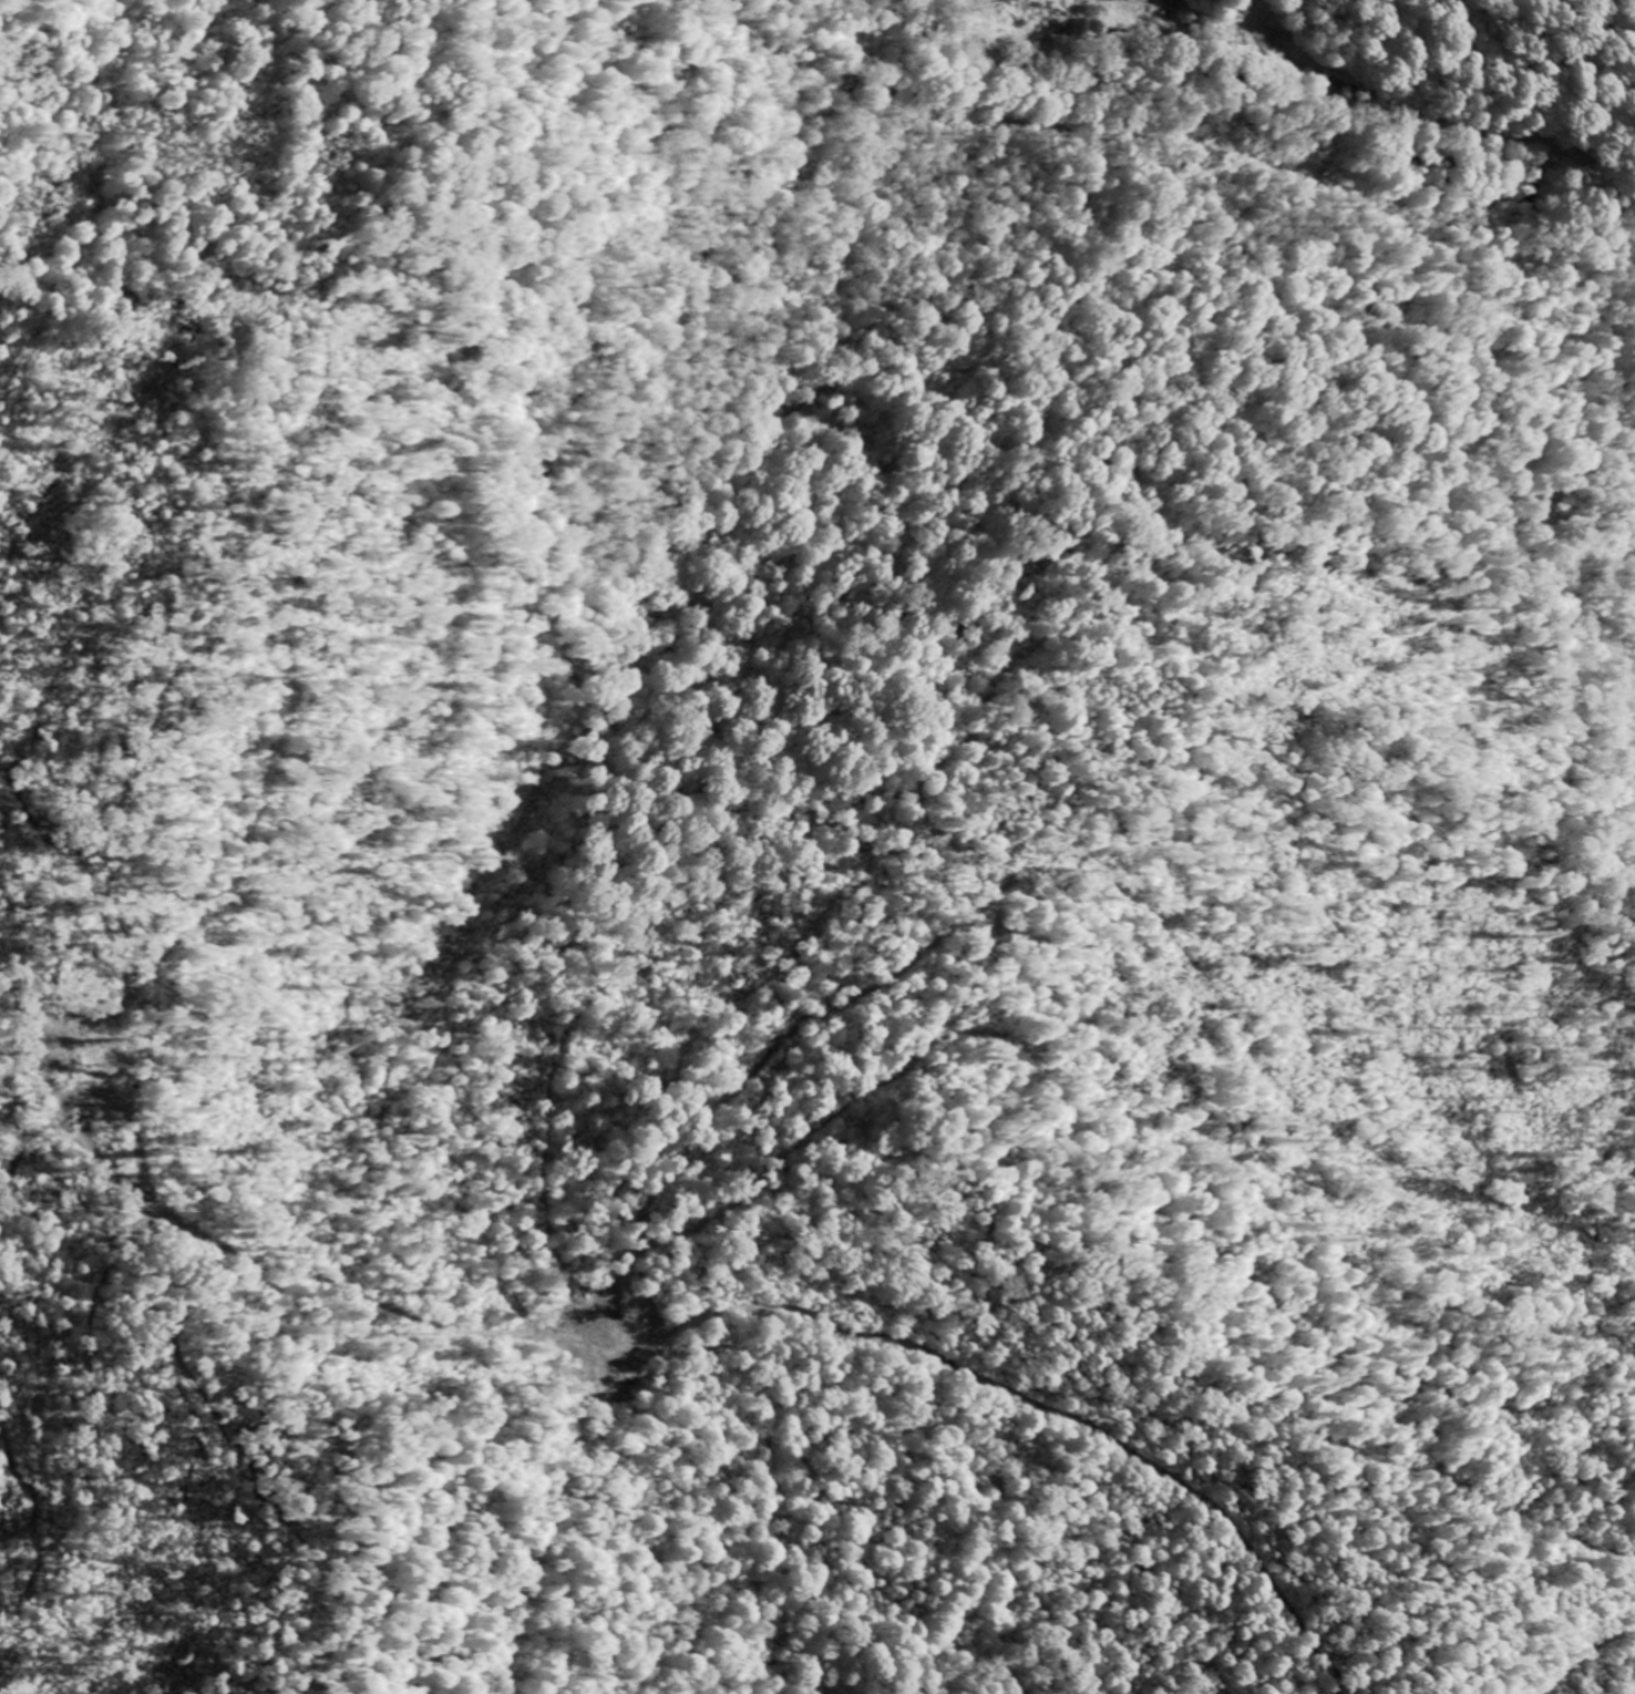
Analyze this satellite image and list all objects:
road: (1392, 92)

